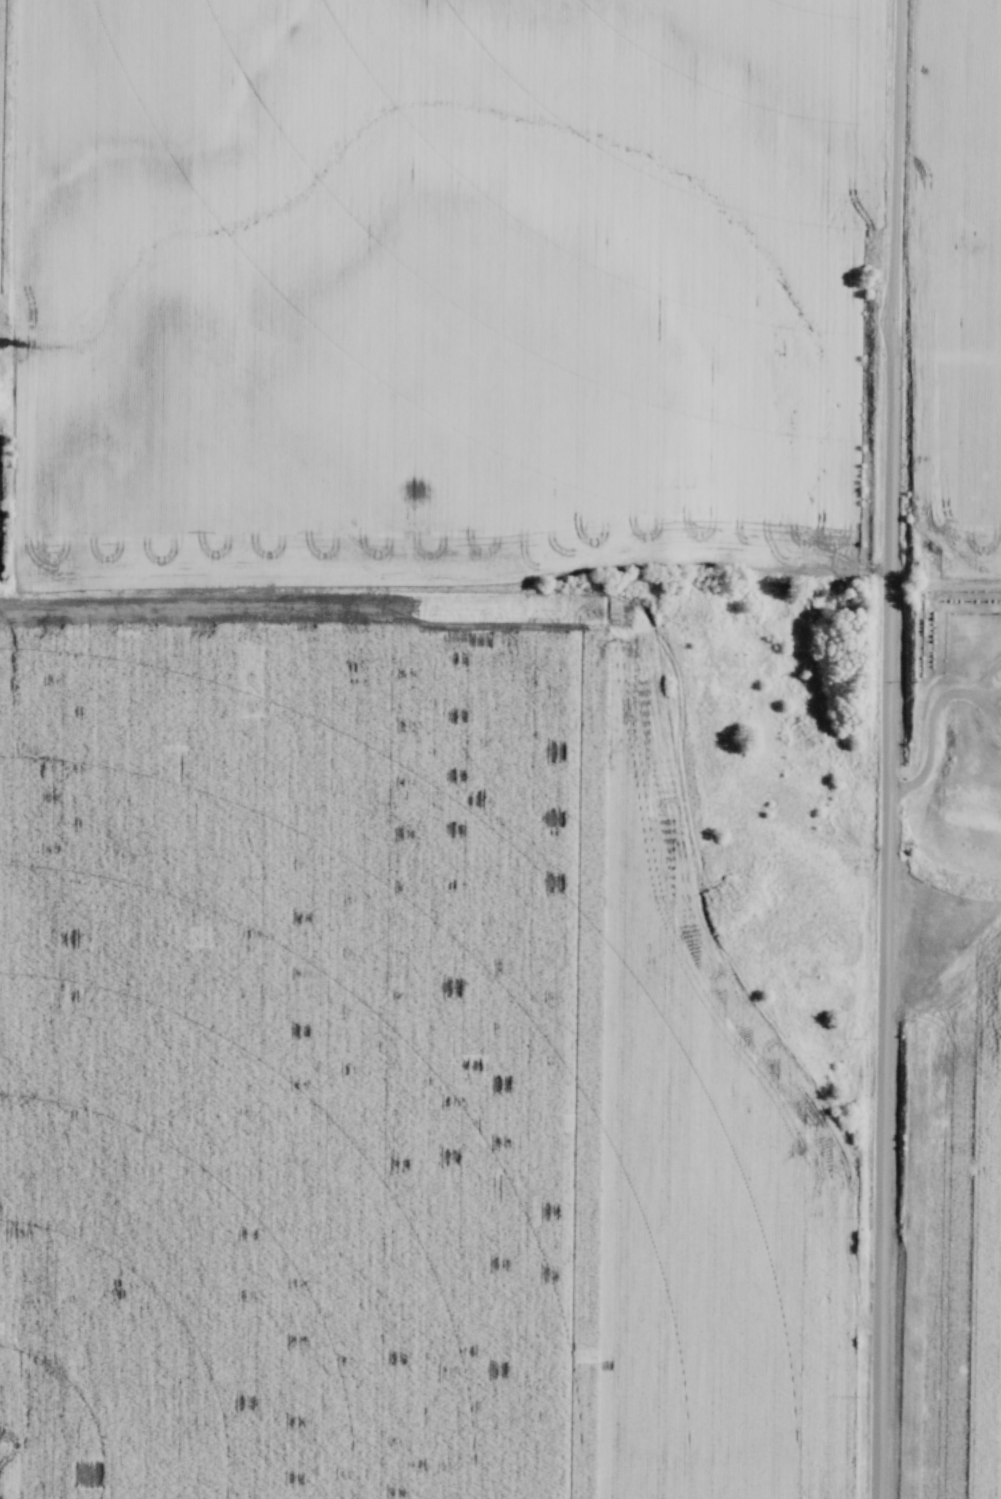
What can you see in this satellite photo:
crop: (3, 120)
road: (891, 749)
crop: (390, 1070)

